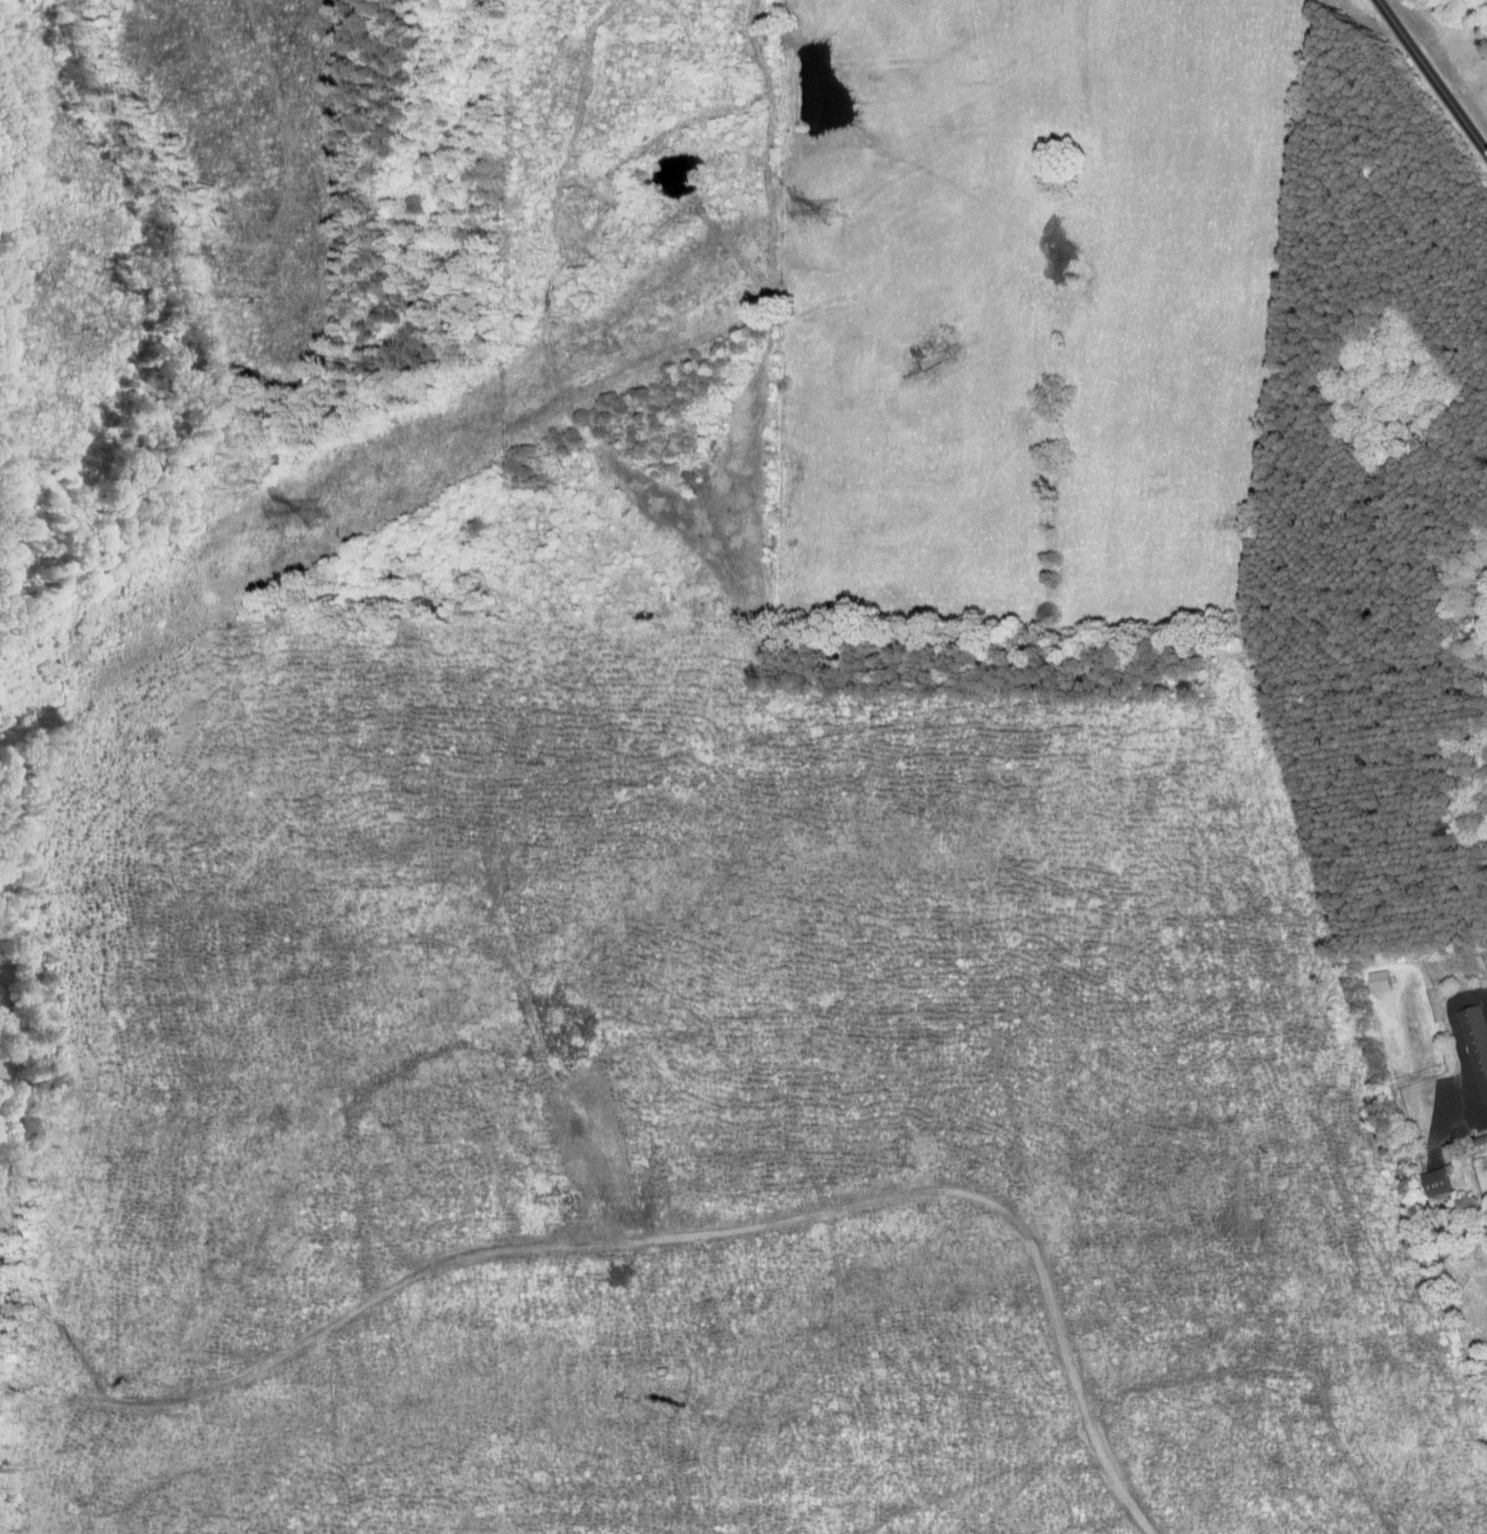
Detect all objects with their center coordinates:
road: (1432, 76)
power tower: (832, 212)
power tower: (314, 513)
building: (1378, 980)
road: (1458, 1040)
building: (1475, 1044)
road: (1460, 1127)
building: (1434, 1182)
building: (1486, 1385)

